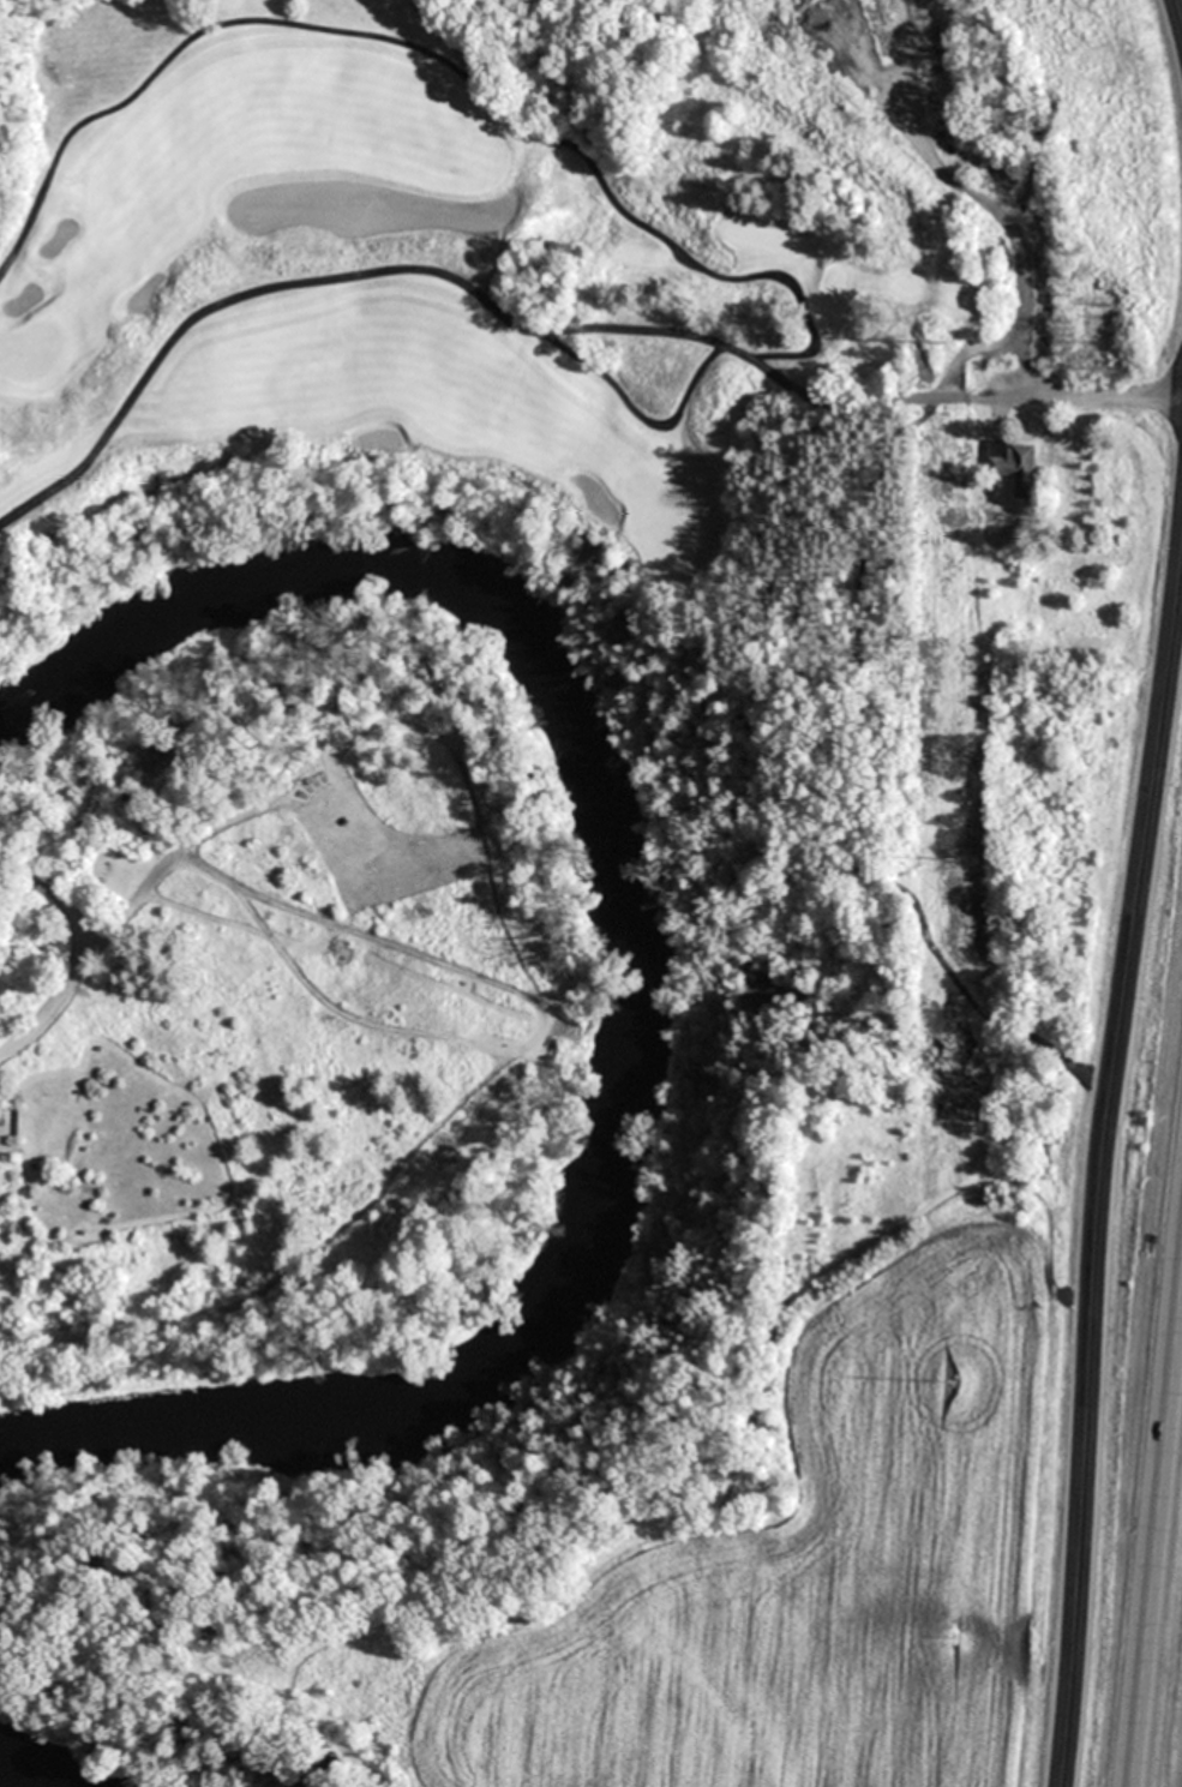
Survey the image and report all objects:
road: (1178, 10)
road: (779, 283)
park: (30, 350)
road: (1096, 397)
road: (664, 419)
building: (1016, 466)
building: (1094, 491)
park: (652, 514)
park: (470, 557)
building: (1088, 650)
road: (76, 949)
river: (625, 978)
road: (1103, 1165)
road: (1157, 1546)
crop: (824, 1567)
river: (28, 1775)

